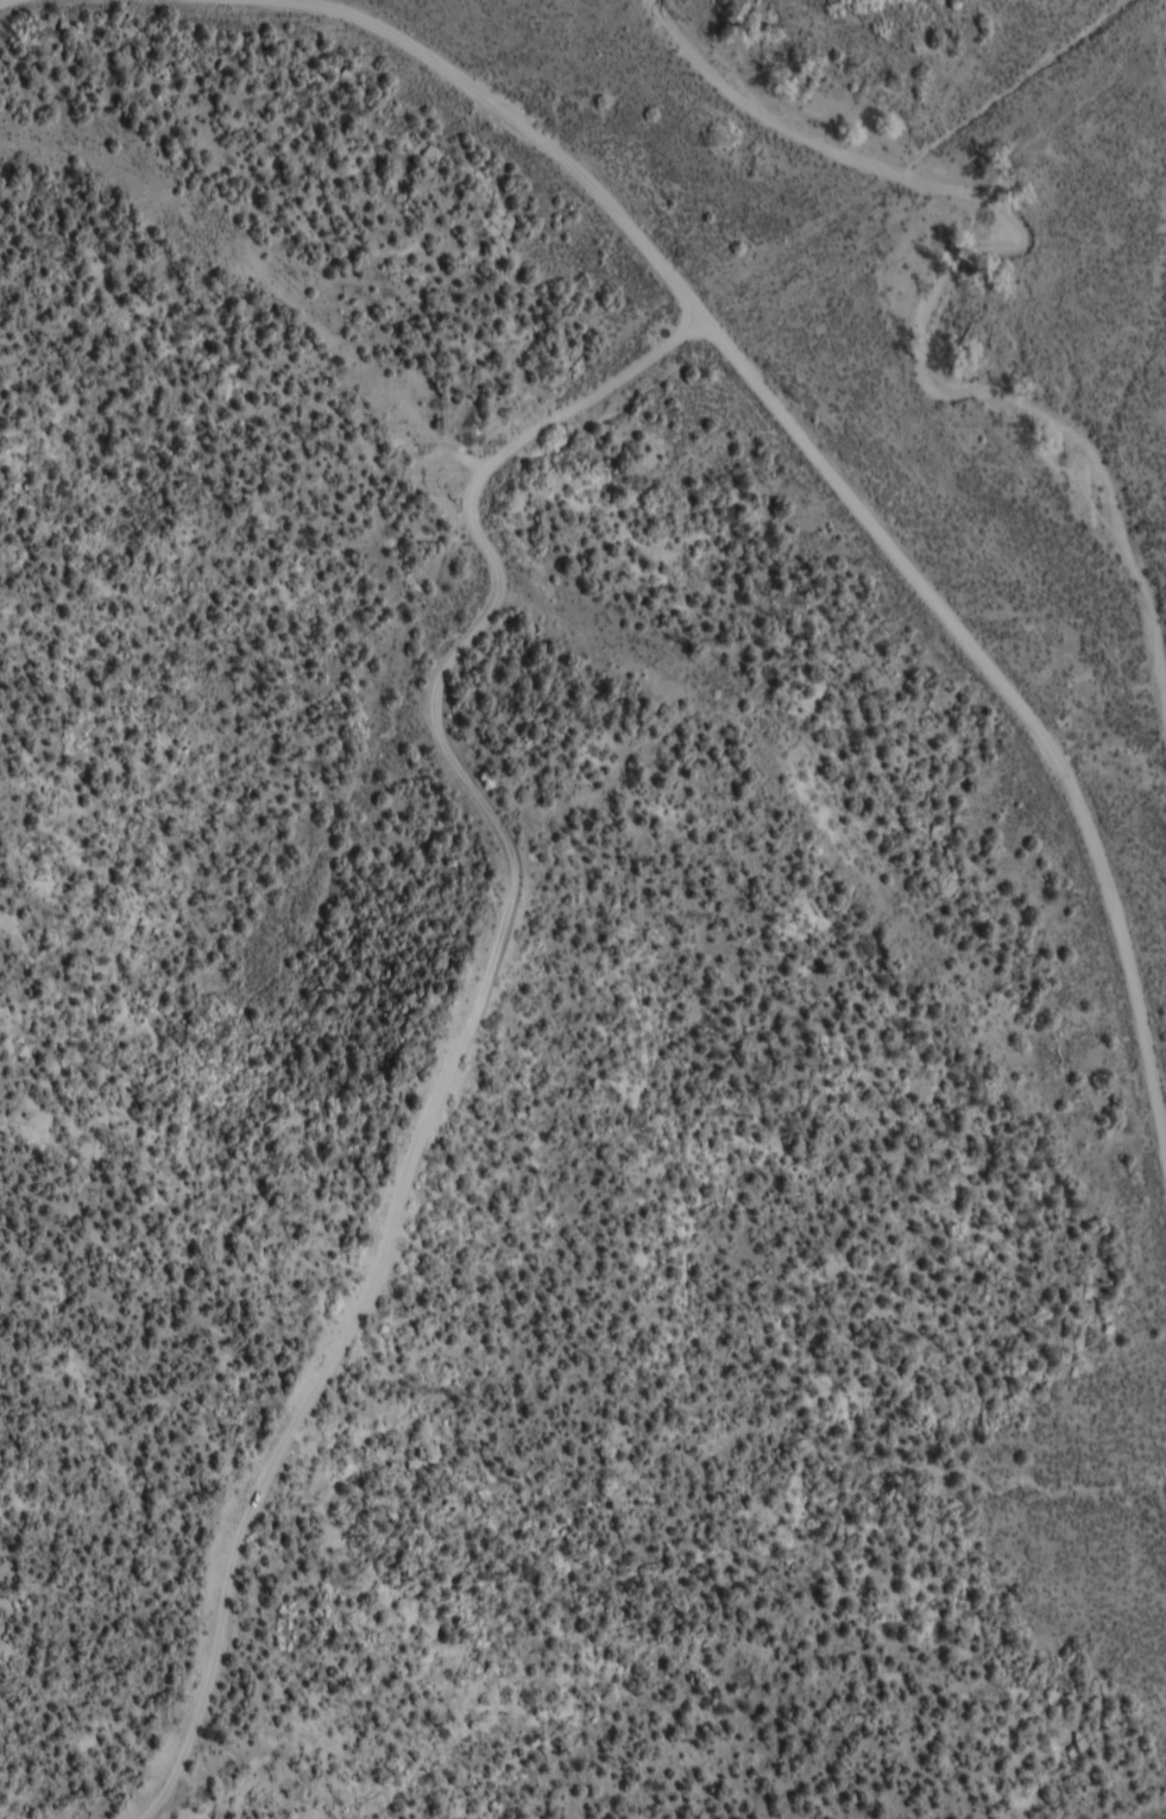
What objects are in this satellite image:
road: (435, 93)
road: (963, 254)
river: (928, 309)
road: (1002, 756)
road: (177, 1774)

